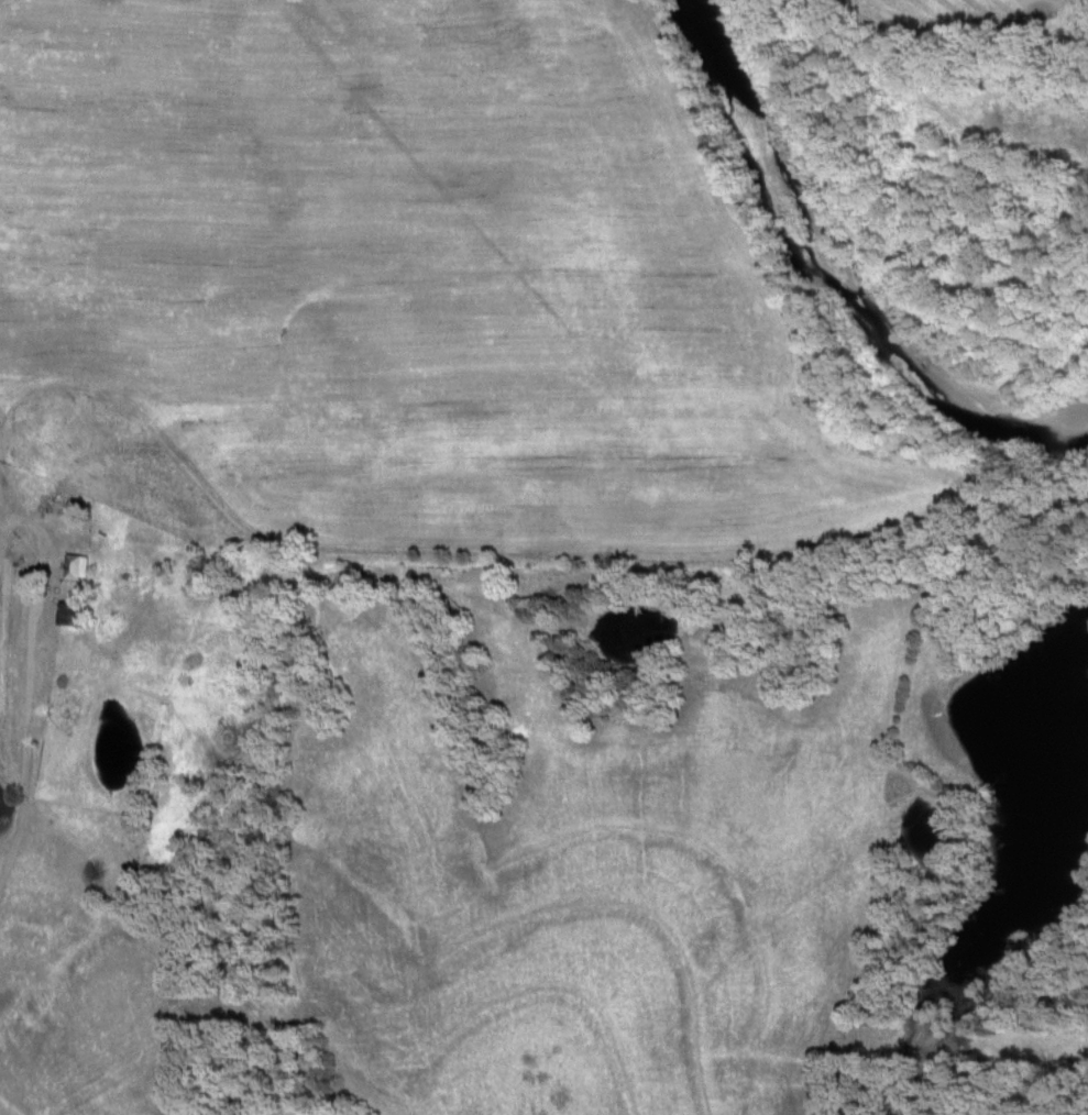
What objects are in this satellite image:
road: (44, 526)
building: (78, 567)
building: (72, 614)

